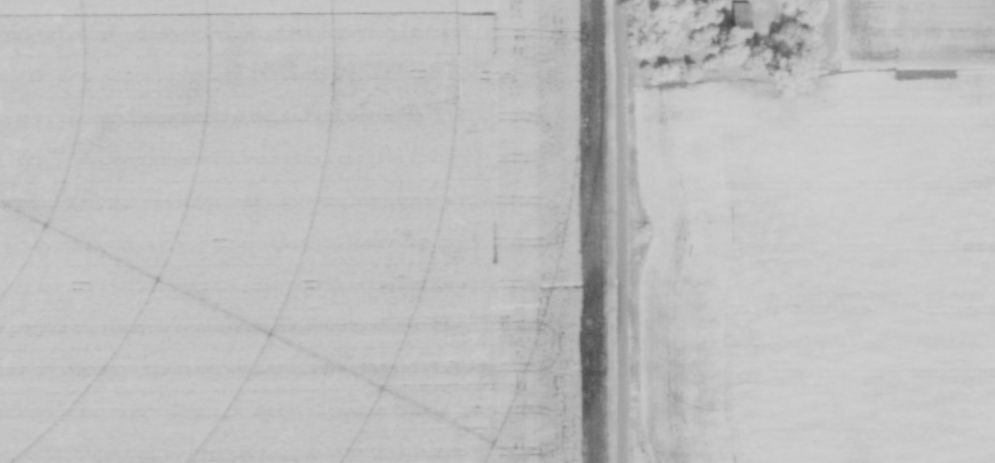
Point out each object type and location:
building: (740, 17)
road: (631, 231)

